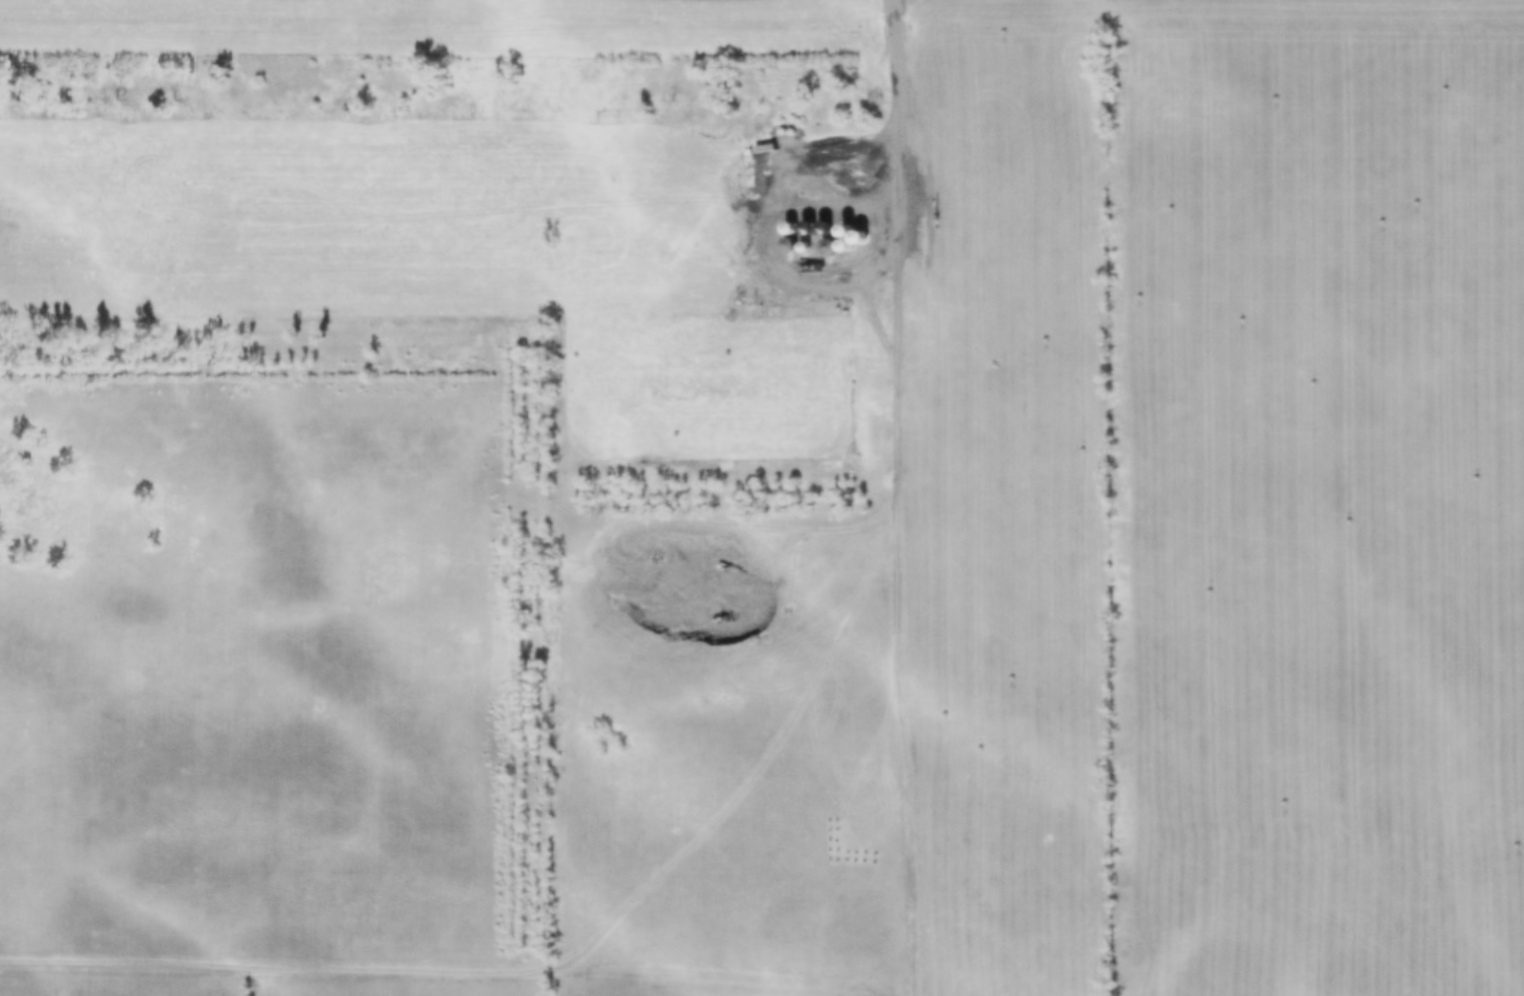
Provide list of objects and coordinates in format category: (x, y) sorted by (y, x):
road: (897, 128)
road: (891, 623)

